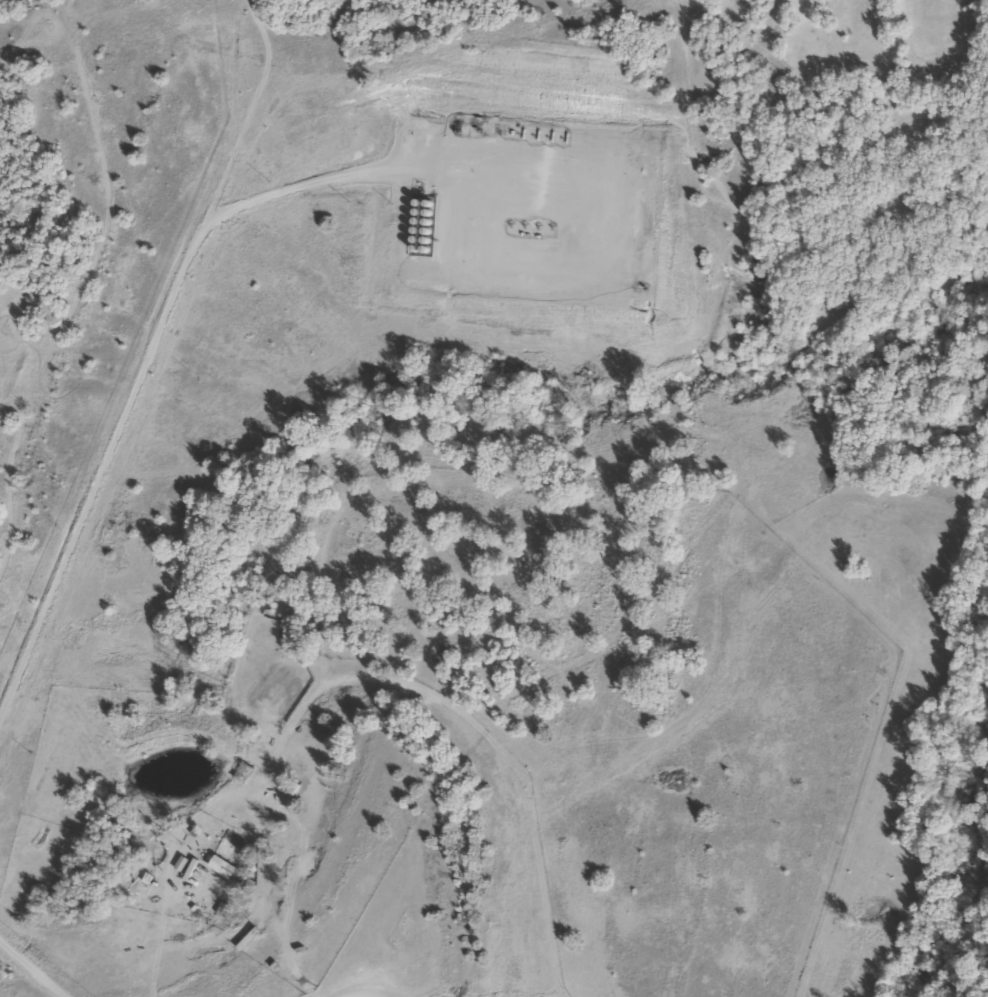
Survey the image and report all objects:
road: (151, 360)
building: (242, 774)
building: (221, 847)
building: (203, 880)
road: (32, 964)
road: (363, 986)

